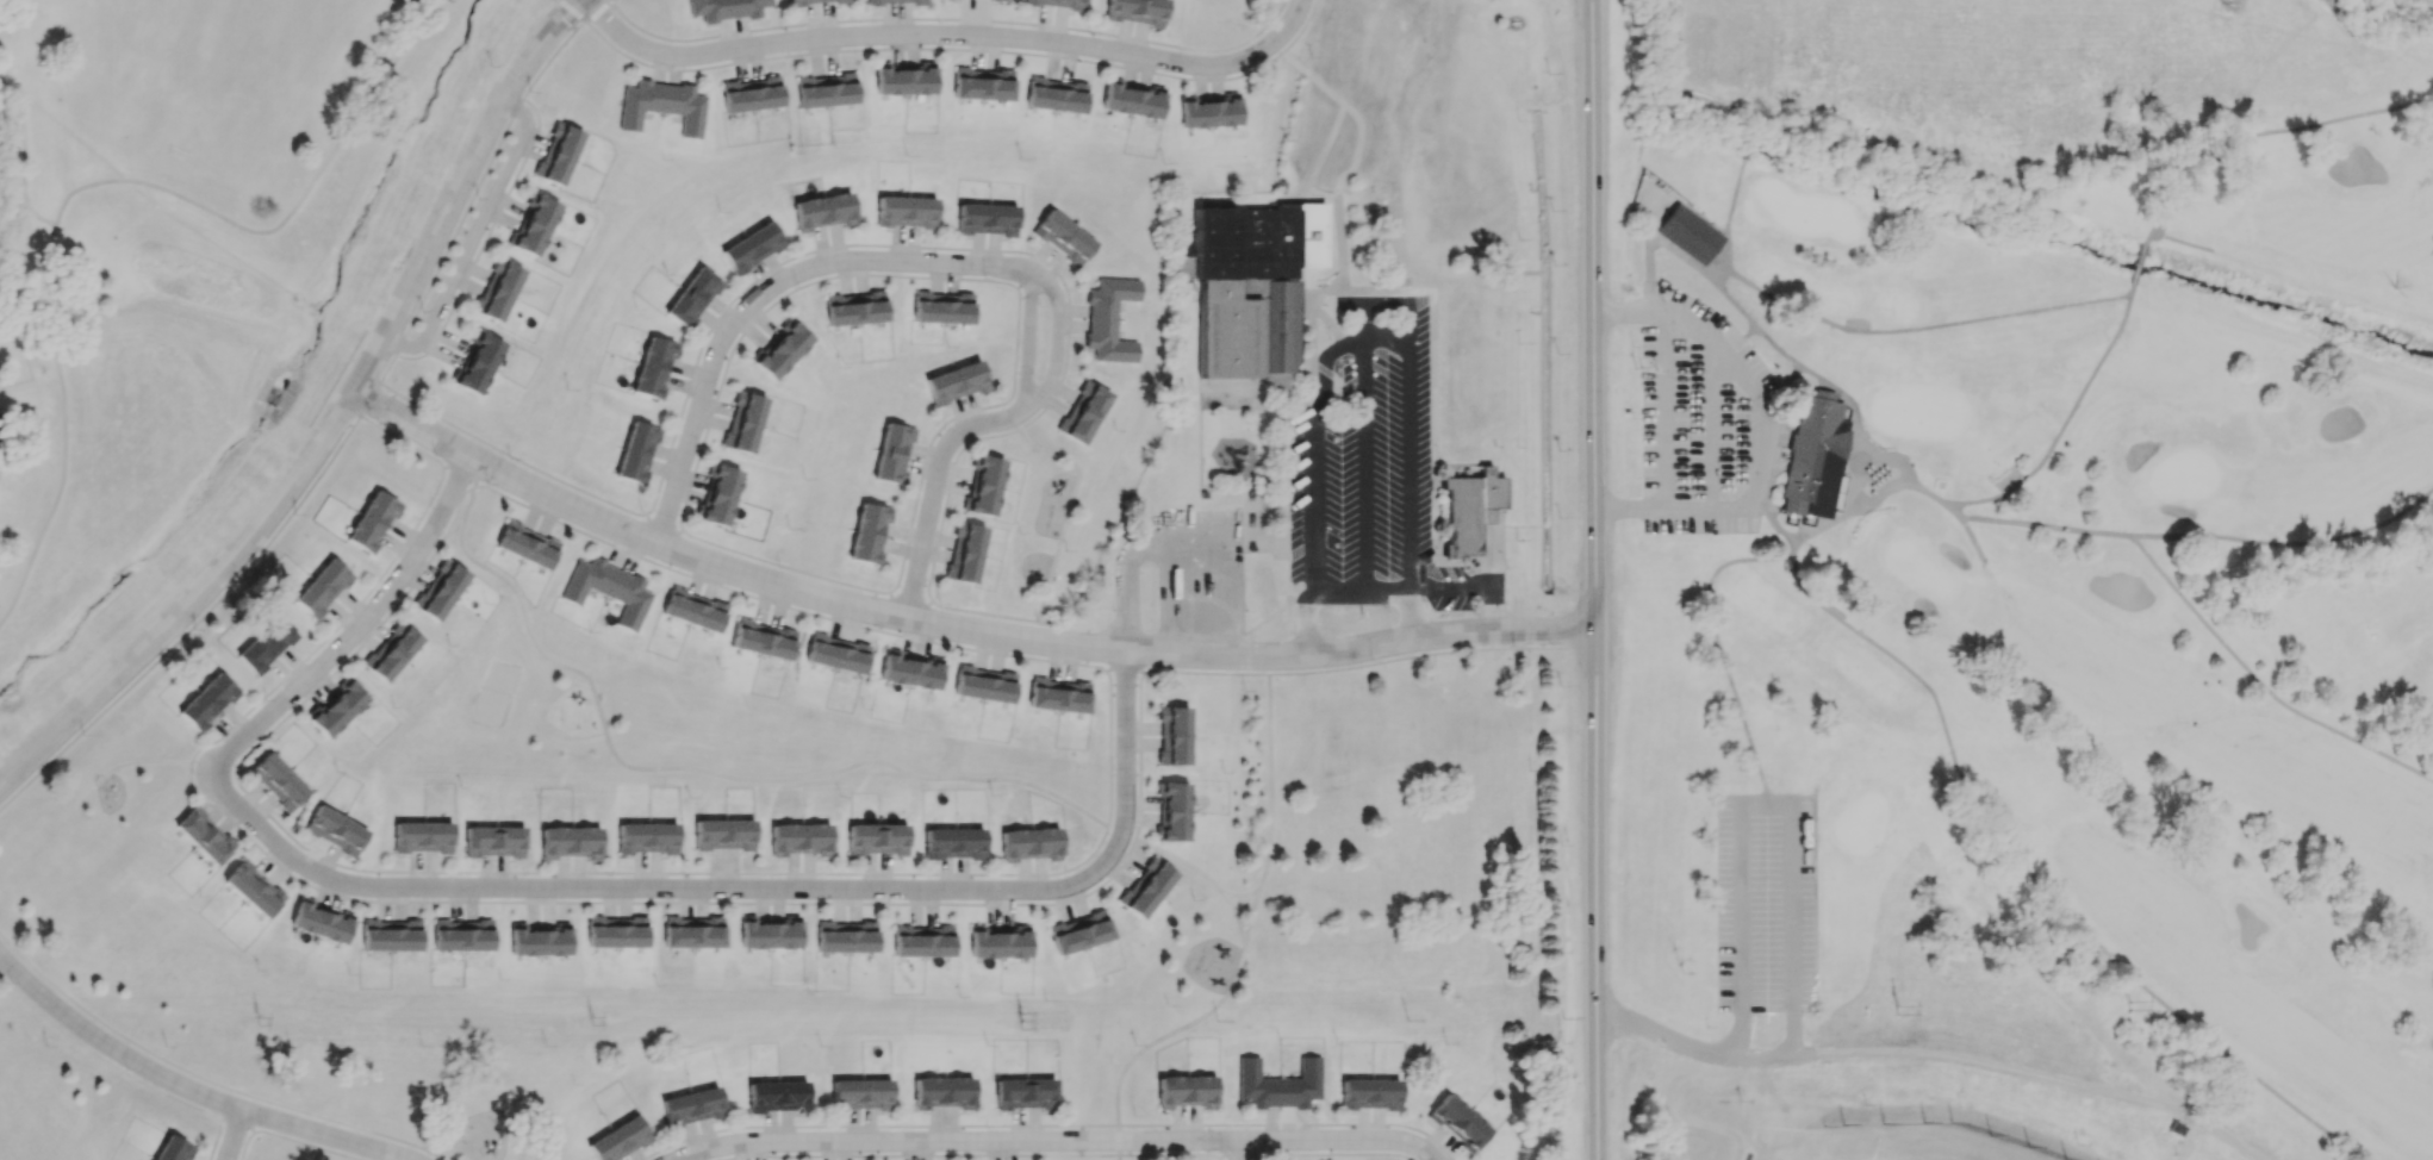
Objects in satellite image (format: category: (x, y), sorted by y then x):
building: (1000, 0)
building: (814, 1)
building: (895, 1)
building: (1056, 4)
building: (726, 8)
road: (571, 11)
road: (597, 11)
building: (1135, 11)
road: (951, 18)
road: (948, 33)
road: (960, 49)
park: (216, 77)
building: (1348, 77)
building: (903, 80)
road: (1222, 81)
building: (982, 87)
road: (1673, 88)
building: (826, 89)
building: (751, 94)
building: (1056, 94)
road: (1317, 98)
building: (1132, 100)
building: (662, 105)
building: (1209, 112)
road: (2272, 130)
road: (1748, 145)
road: (23, 154)
building: (556, 155)
building: (1278, 186)
road: (455, 188)
road: (472, 195)
building: (822, 211)
building: (904, 211)
road: (282, 218)
building: (985, 218)
road: (1725, 218)
building: (531, 227)
building: (1687, 235)
road: (472, 236)
road: (2148, 236)
building: (1062, 237)
road: (2180, 241)
road: (853, 244)
building: (751, 247)
road: (2138, 262)
road: (1720, 263)
road: (1342, 269)
road: (1648, 269)
building: (1249, 287)
road: (763, 289)
building: (497, 294)
building: (692, 297)
road: (1729, 299)
road: (1390, 301)
building: (941, 307)
building: (854, 308)
road: (1619, 312)
road: (1656, 313)
building: (1109, 319)
road: (1856, 319)
road: (1928, 325)
road: (1386, 336)
road: (1738, 338)
road: (1027, 344)
road: (1775, 345)
road: (1056, 347)
building: (780, 349)
building: (475, 364)
building: (654, 367)
road: (1325, 368)
building: (956, 382)
road: (1780, 385)
road: (1840, 394)
road: (1435, 395)
road: (368, 398)
road: (1046, 398)
road: (1664, 411)
building: (1083, 412)
building: (743, 422)
parking lot: (1704, 423)
road: (1710, 423)
road: (2060, 425)
road: (63, 426)
road: (1759, 429)
road: (402, 438)
building: (636, 451)
building: (892, 453)
road: (1888, 455)
building: (1810, 457)
road: (1363, 466)
road: (1408, 469)
road: (456, 474)
road: (1844, 475)
parking lot: (1370, 481)
building: (985, 485)
road: (933, 489)
road: (1924, 489)
building: (718, 494)
road: (1872, 499)
road: (1313, 507)
road: (1068, 509)
road: (1629, 509)
road: (1952, 509)
building: (1466, 512)
building: (372, 520)
road: (1772, 520)
road: (626, 524)
road: (660, 525)
road: (2045, 525)
road: (1812, 528)
building: (869, 532)
road: (1972, 540)
road: (2288, 542)
building: (525, 544)
road: (934, 547)
road: (617, 548)
road: (1495, 548)
building: (965, 551)
park: (2033, 555)
parking lot: (1193, 566)
road: (1448, 574)
road: (1593, 579)
building: (322, 587)
road: (1451, 587)
building: (608, 588)
building: (440, 590)
road: (1359, 595)
road: (754, 597)
road: (191, 599)
road: (1494, 607)
building: (693, 609)
road: (1274, 609)
road: (1407, 616)
road: (1049, 622)
road: (194, 624)
road: (1303, 624)
road: (950, 626)
road: (356, 629)
road: (1059, 634)
building: (761, 638)
building: (266, 644)
road: (1718, 648)
building: (392, 650)
road: (1247, 650)
building: (836, 653)
road: (1430, 653)
road: (1056, 654)
road: (1081, 663)
road: (1125, 668)
road: (1108, 669)
building: (909, 671)
road: (1054, 671)
road: (1249, 671)
road: (1140, 672)
road: (1258, 674)
road: (2260, 682)
building: (984, 684)
park: (493, 693)
building: (1058, 694)
building: (207, 701)
building: (336, 707)
road: (1125, 718)
building: (1172, 735)
road: (1139, 744)
road: (139, 761)
road: (701, 769)
building: (276, 781)
road: (1269, 784)
road: (1766, 807)
building: (1174, 810)
road: (1139, 821)
building: (335, 830)
building: (723, 834)
building: (204, 835)
building: (422, 836)
building: (646, 837)
building: (799, 838)
building: (876, 838)
building: (493, 841)
building: (570, 841)
building: (952, 843)
building: (1029, 843)
road: (1182, 860)
road: (552, 871)
road: (1043, 874)
road: (2040, 884)
building: (1146, 887)
building: (253, 888)
road: (633, 888)
road: (1240, 894)
road: (404, 900)
road: (1077, 900)
parking lot: (1766, 900)
road: (1236, 915)
road: (1249, 915)
building: (322, 921)
building: (616, 931)
building: (692, 931)
building: (1079, 931)
building: (769, 933)
building: (391, 935)
building: (462, 935)
building: (845, 936)
building: (539, 940)
building: (922, 941)
building: (998, 942)
power tower: (2350, 1003)
power tower: (1903, 1014)
power tower: (1234, 1018)
power tower: (1021, 1021)
power tower: (1566, 1021)
power tower: (255, 1024)
power tower: (597, 1027)
road: (1174, 1030)
road: (1738, 1030)
road: (1793, 1031)
road: (1662, 1033)
road: (1761, 1055)
road: (104, 1058)
road: (193, 1073)
road: (2037, 1073)
building: (1278, 1084)
road: (1558, 1084)
road: (189, 1089)
building: (942, 1091)
building: (1186, 1091)
building: (1023, 1092)
building: (860, 1093)
building: (1369, 1093)
building: (776, 1096)
road: (1680, 1098)
building: (691, 1106)
road: (239, 1122)
building: (1457, 1122)
road: (1047, 1125)
road: (234, 1135)
building: (618, 1139)
road: (1118, 1140)
road: (1043, 1141)
road: (447, 1142)
building: (172, 1149)
road: (1240, 1150)
road: (433, 1153)
road: (1237, 1153)
road: (1331, 1153)
road: (1169, 1154)
road: (1426, 1154)
road: (917, 1155)
road: (1221, 1155)
road: (1119, 1158)
road: (1219, 1159)

